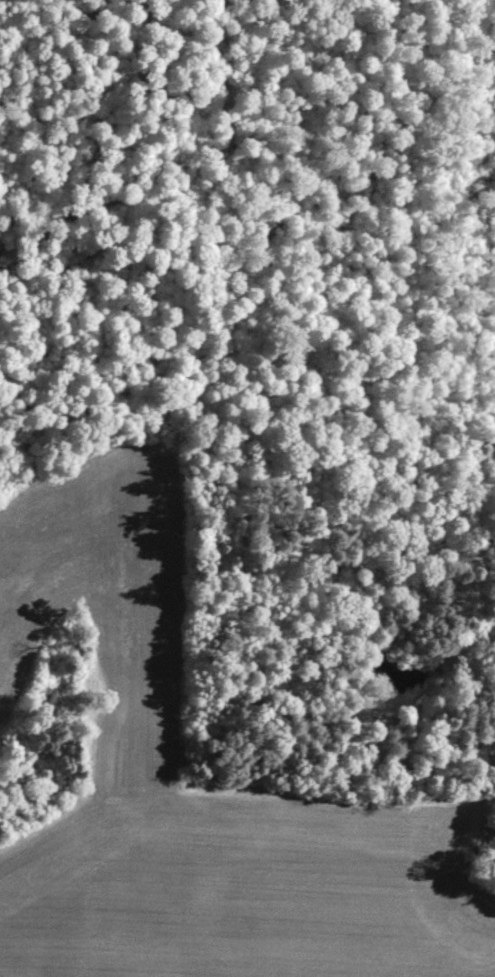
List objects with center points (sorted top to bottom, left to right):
road: (245, 816)

